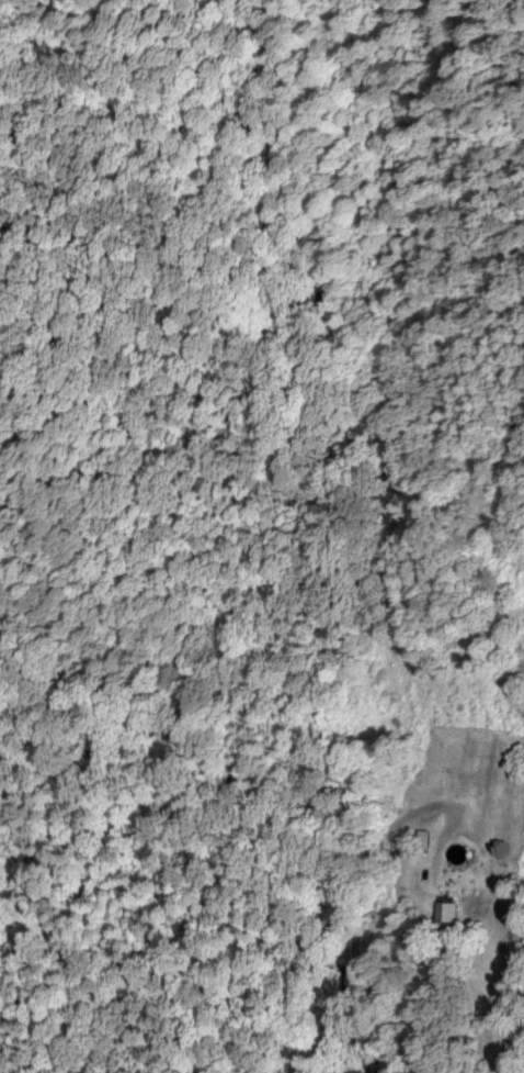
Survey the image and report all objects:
road: (399, 1044)

